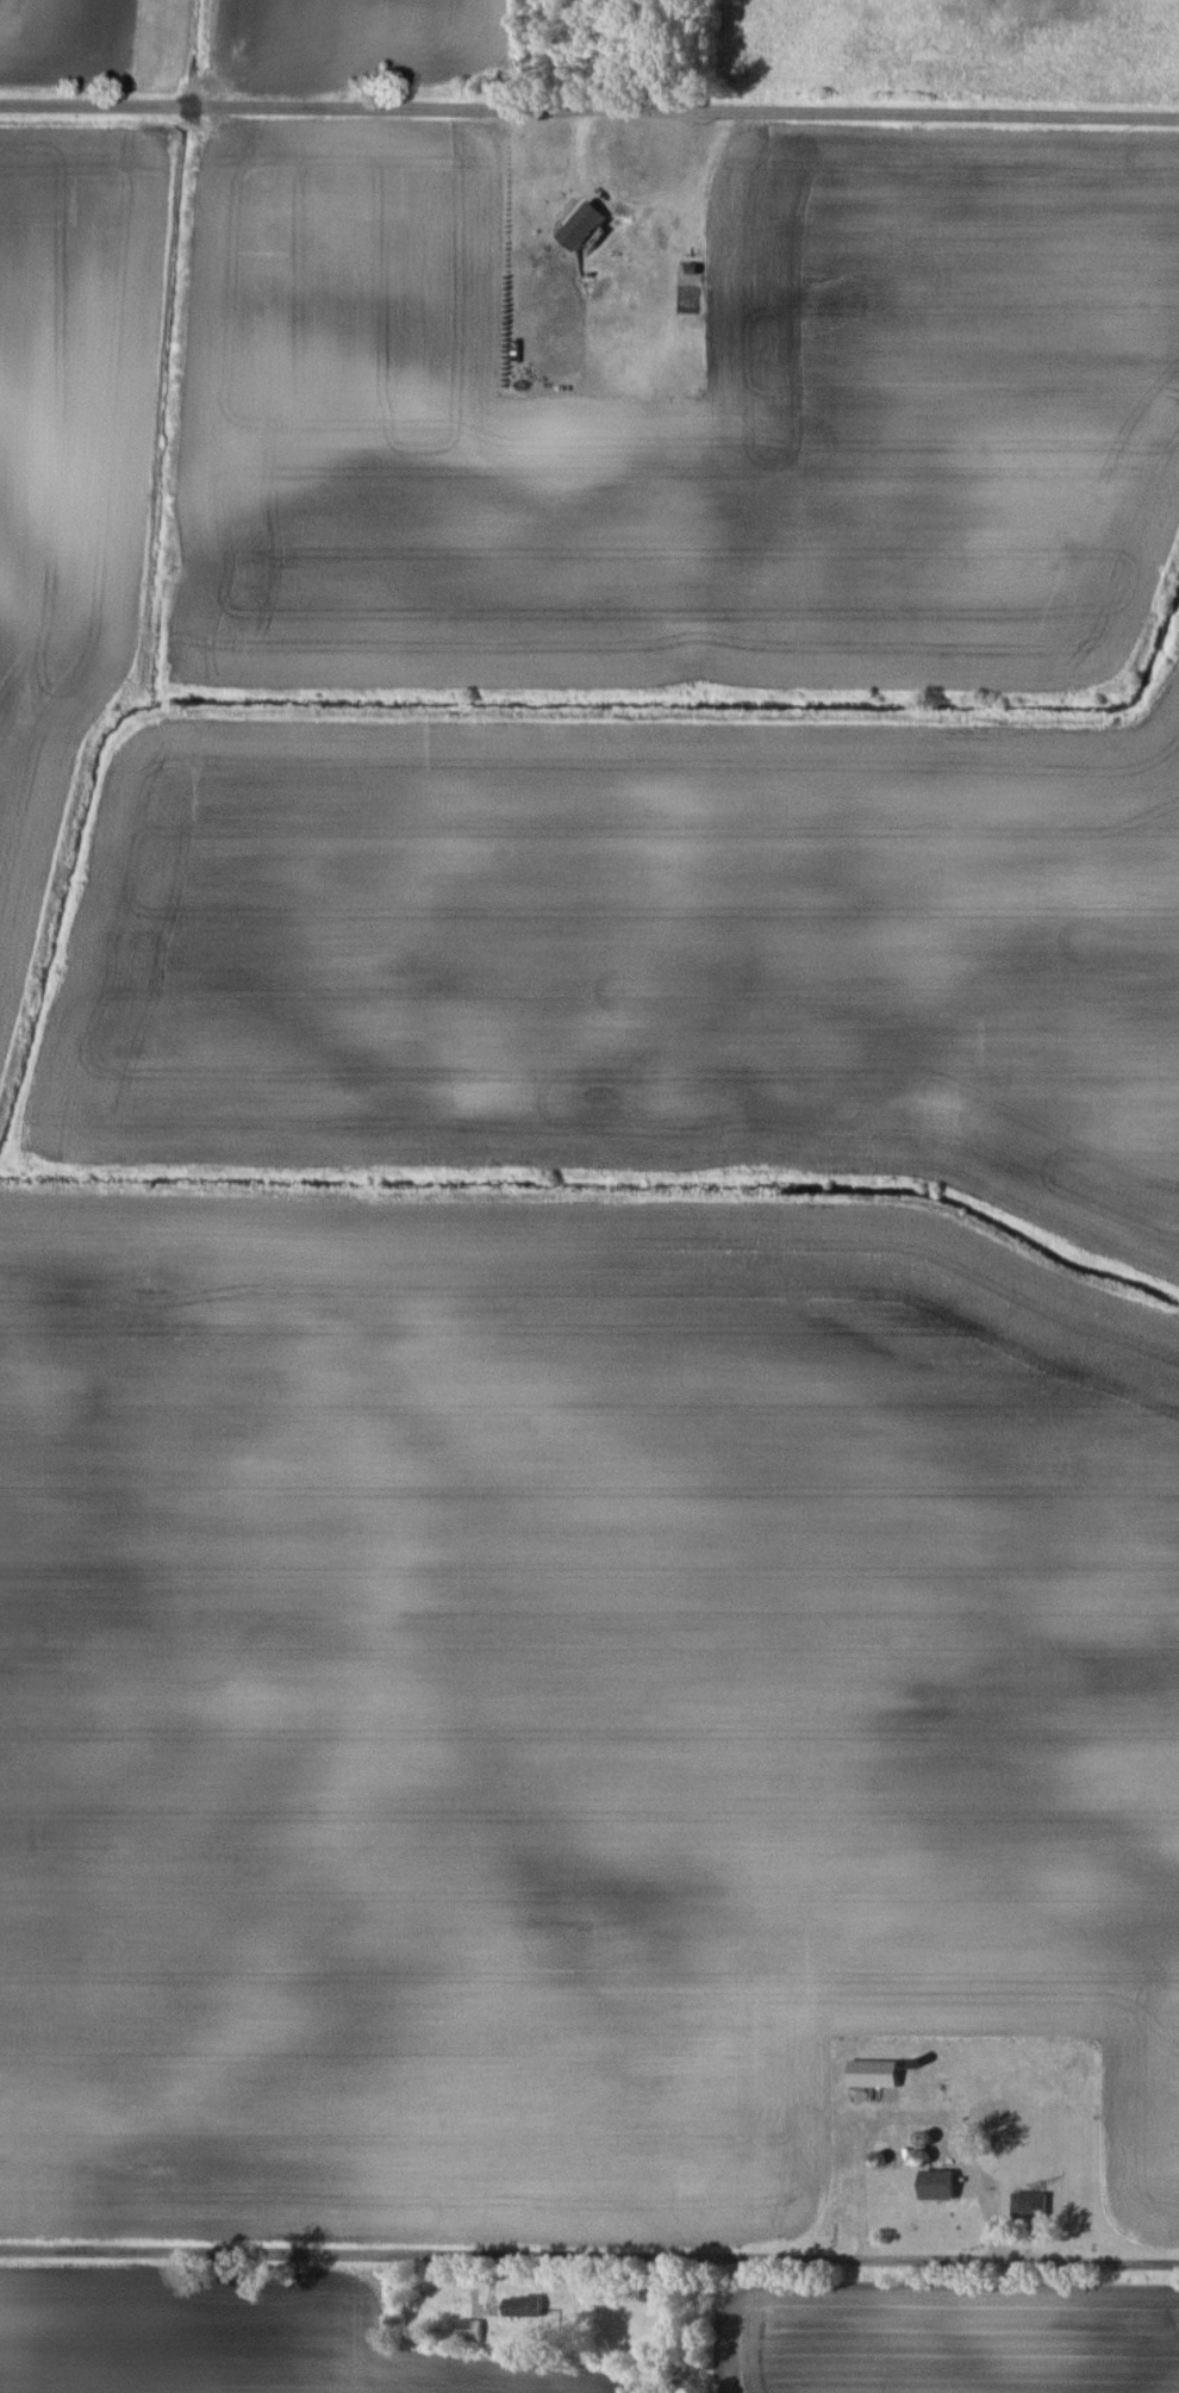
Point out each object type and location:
airport runway: (150, 35)
road: (589, 116)
building: (587, 225)
building: (877, 2074)
building: (943, 2185)
building: (1034, 2205)
road: (589, 2254)
building: (524, 2306)
building: (468, 2330)

